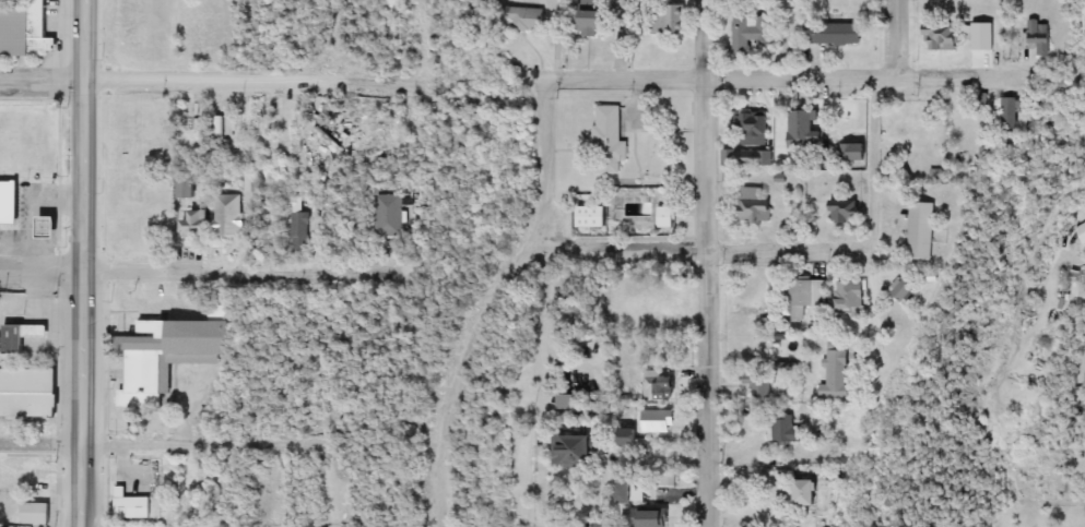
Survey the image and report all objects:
building: (522, 19)
building: (669, 20)
building: (593, 23)
building: (27, 27)
building: (751, 33)
building: (828, 34)
building: (1034, 37)
building: (937, 38)
road: (898, 39)
road: (250, 77)
road: (42, 79)
road: (781, 79)
building: (1001, 115)
building: (753, 128)
building: (798, 129)
building: (610, 140)
building: (730, 151)
building: (845, 153)
building: (186, 189)
building: (10, 202)
building: (757, 205)
building: (839, 211)
building: (389, 215)
building: (231, 216)
building: (593, 216)
building: (668, 217)
road: (873, 217)
building: (298, 221)
building: (196, 224)
building: (51, 227)
building: (1080, 229)
building: (915, 231)
road: (703, 252)
road: (520, 255)
road: (83, 263)
road: (705, 263)
road: (42, 271)
road: (238, 272)
building: (844, 294)
building: (805, 295)
building: (20, 337)
building: (166, 357)
building: (830, 371)
road: (540, 384)
building: (657, 384)
building: (758, 384)
building: (30, 393)
building: (658, 421)
road: (214, 430)
building: (788, 430)
road: (42, 438)
building: (628, 438)
building: (579, 451)
road: (439, 475)
building: (665, 479)
road: (333, 490)
building: (812, 493)
building: (628, 494)
road: (1057, 499)
building: (134, 506)
building: (37, 514)
building: (653, 518)

